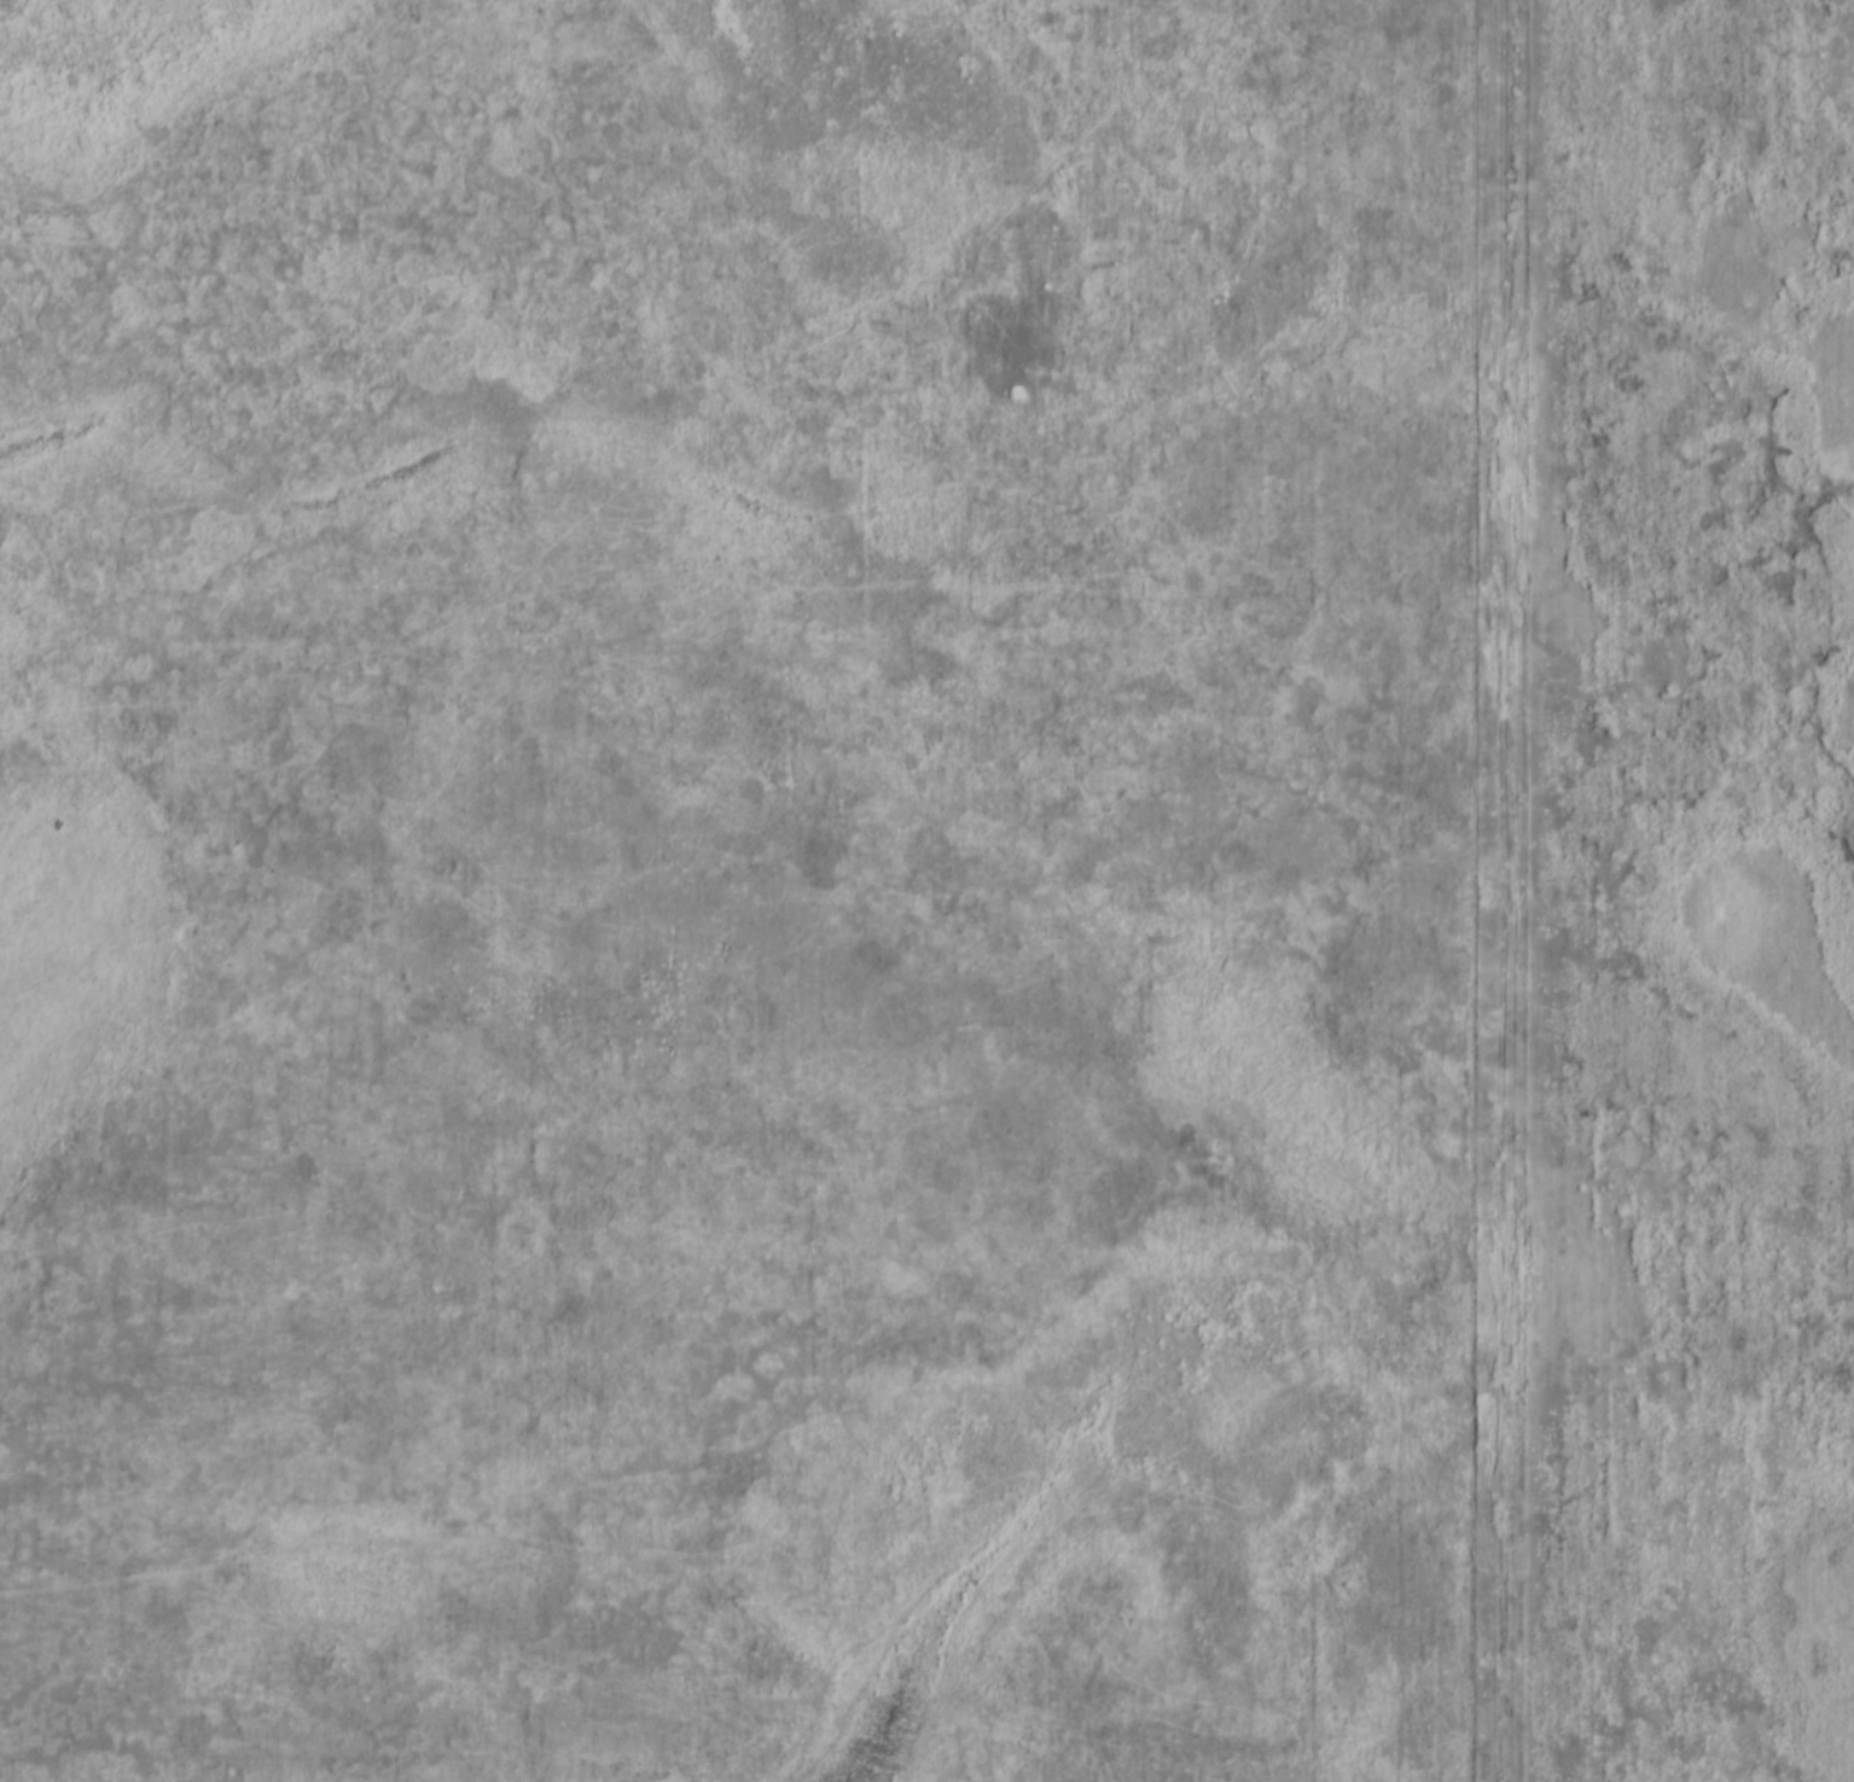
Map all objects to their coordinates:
road: (1467, 891)

